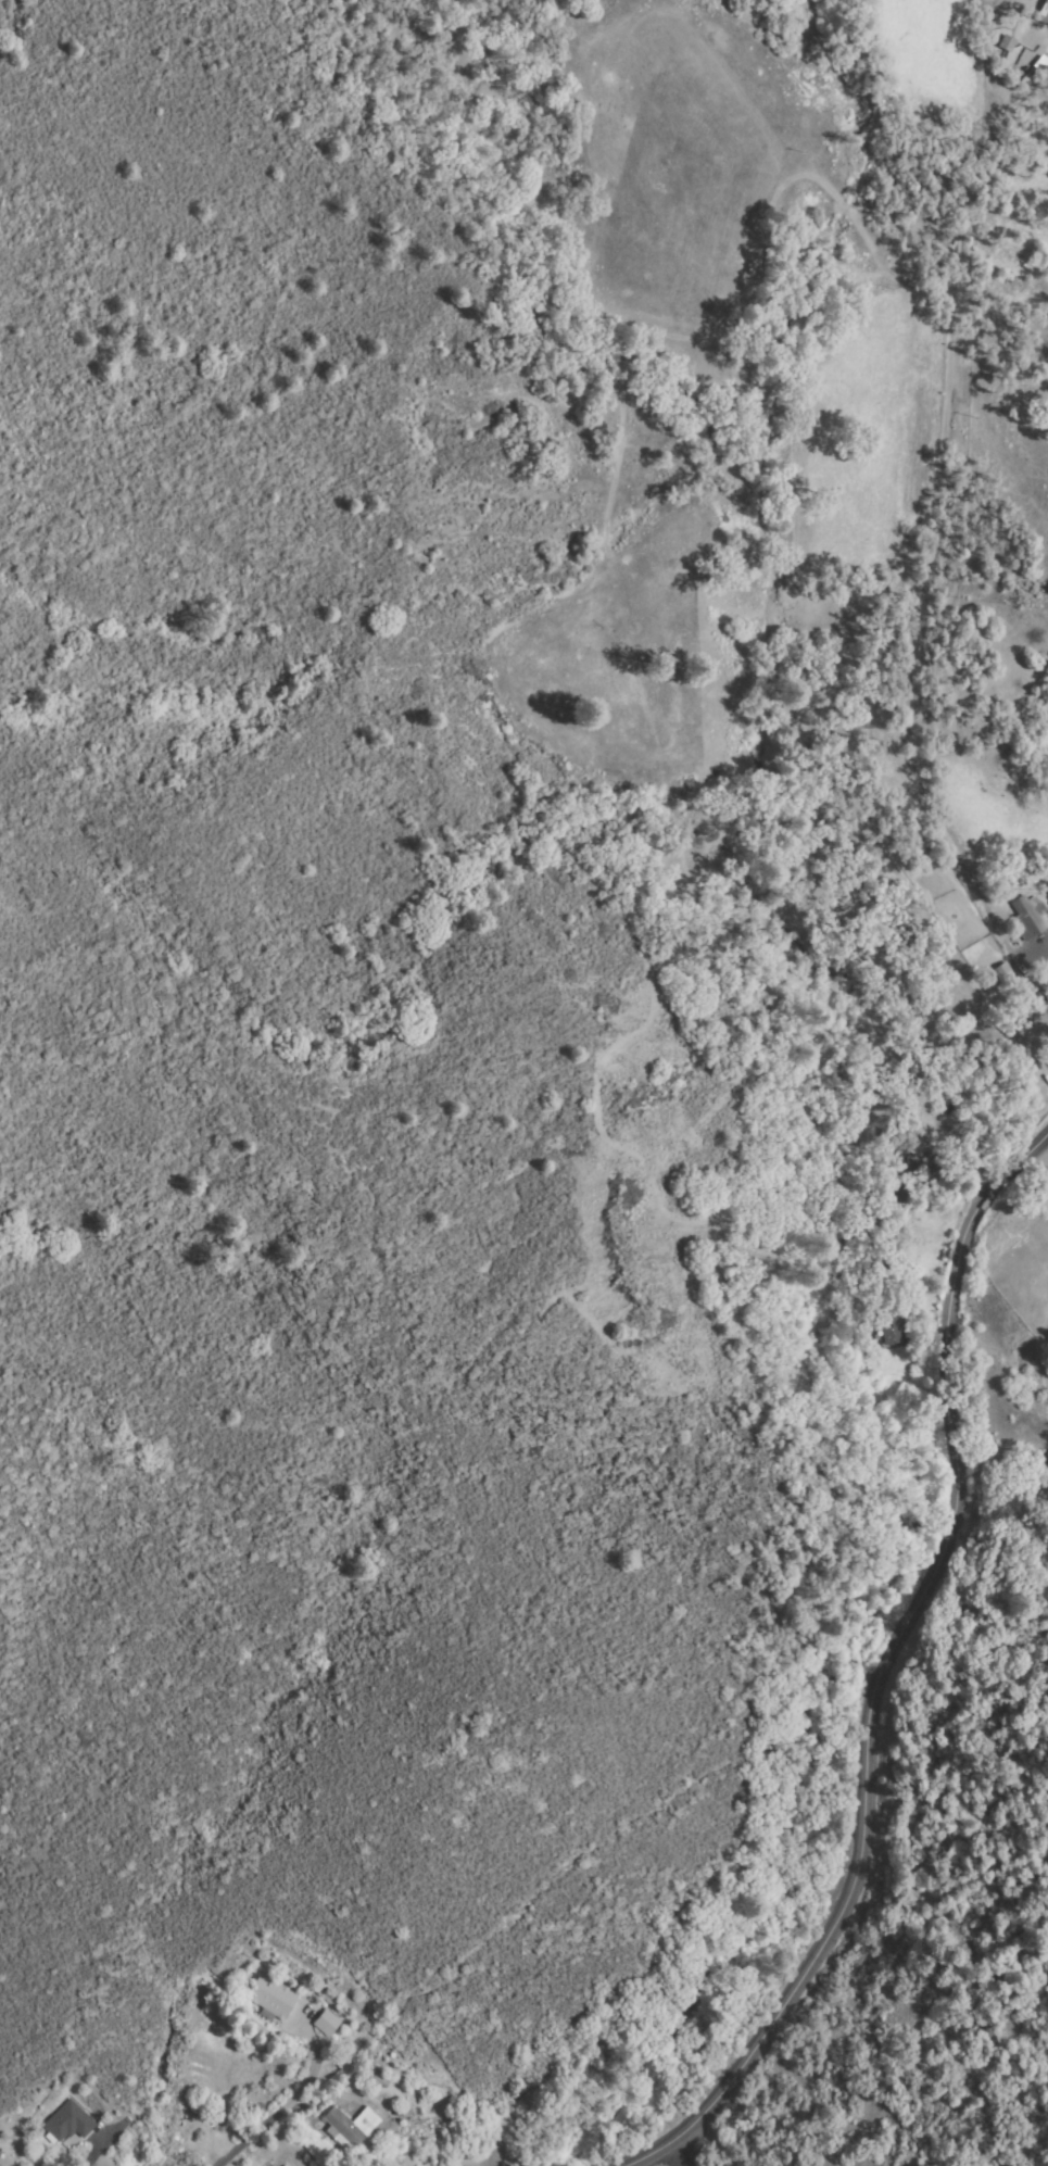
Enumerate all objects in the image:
building: (1044, 14)
building: (1002, 42)
building: (1030, 917)
building: (1009, 980)
building: (914, 1145)
building: (892, 1325)
road: (888, 1666)
building: (272, 1999)
building: (327, 2023)
building: (68, 2121)
building: (350, 2127)

